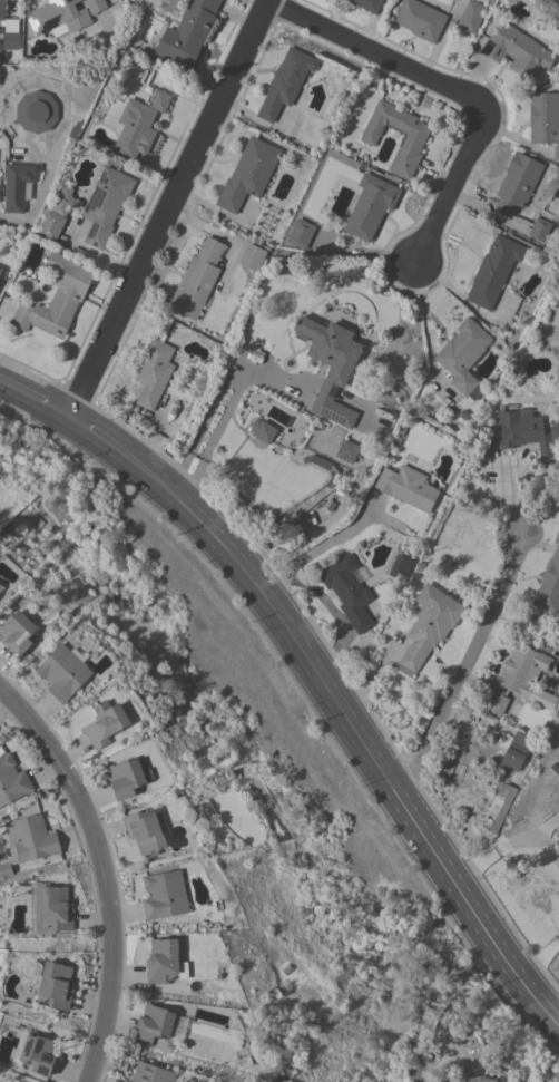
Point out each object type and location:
building: (366, 4)
building: (95, 6)
building: (1, 10)
building: (471, 16)
building: (57, 17)
building: (420, 19)
building: (188, 32)
building: (10, 35)
building: (517, 51)
road: (375, 57)
building: (285, 82)
building: (36, 111)
building: (545, 119)
building: (139, 123)
building: (411, 143)
building: (248, 174)
building: (517, 183)
building: (18, 186)
road: (449, 187)
building: (65, 201)
building: (106, 205)
building: (371, 206)
road: (169, 208)
building: (265, 222)
road: (4, 223)
building: (51, 225)
building: (540, 228)
building: (301, 233)
road: (98, 253)
building: (253, 256)
building: (0, 267)
building: (493, 271)
building: (0, 272)
building: (197, 280)
building: (57, 298)
road: (423, 318)
building: (463, 353)
building: (331, 367)
building: (154, 372)
road: (269, 383)
road: (35, 397)
building: (262, 430)
building: (524, 430)
building: (555, 433)
road: (198, 437)
road: (209, 443)
building: (346, 450)
building: (408, 487)
road: (318, 548)
building: (401, 567)
building: (549, 584)
building: (1, 587)
building: (349, 592)
road: (335, 615)
building: (51, 621)
building: (430, 624)
building: (18, 632)
road: (465, 667)
building: (63, 672)
building: (521, 679)
road: (335, 702)
building: (106, 722)
building: (517, 751)
building: (128, 777)
building: (12, 780)
building: (502, 809)
building: (145, 831)
building: (28, 841)
building: (557, 842)
road: (506, 847)
road: (100, 876)
building: (164, 895)
building: (56, 908)
road: (538, 957)
building: (163, 961)
building: (55, 985)
road: (434, 1001)
building: (154, 1024)
building: (39, 1053)
building: (151, 1073)
building: (472, 1079)

